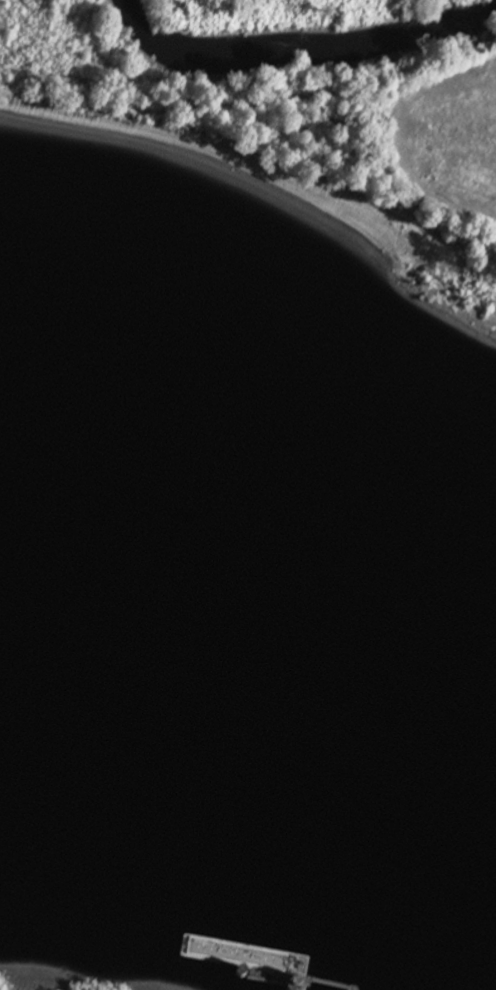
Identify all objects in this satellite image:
river: (248, 606)

